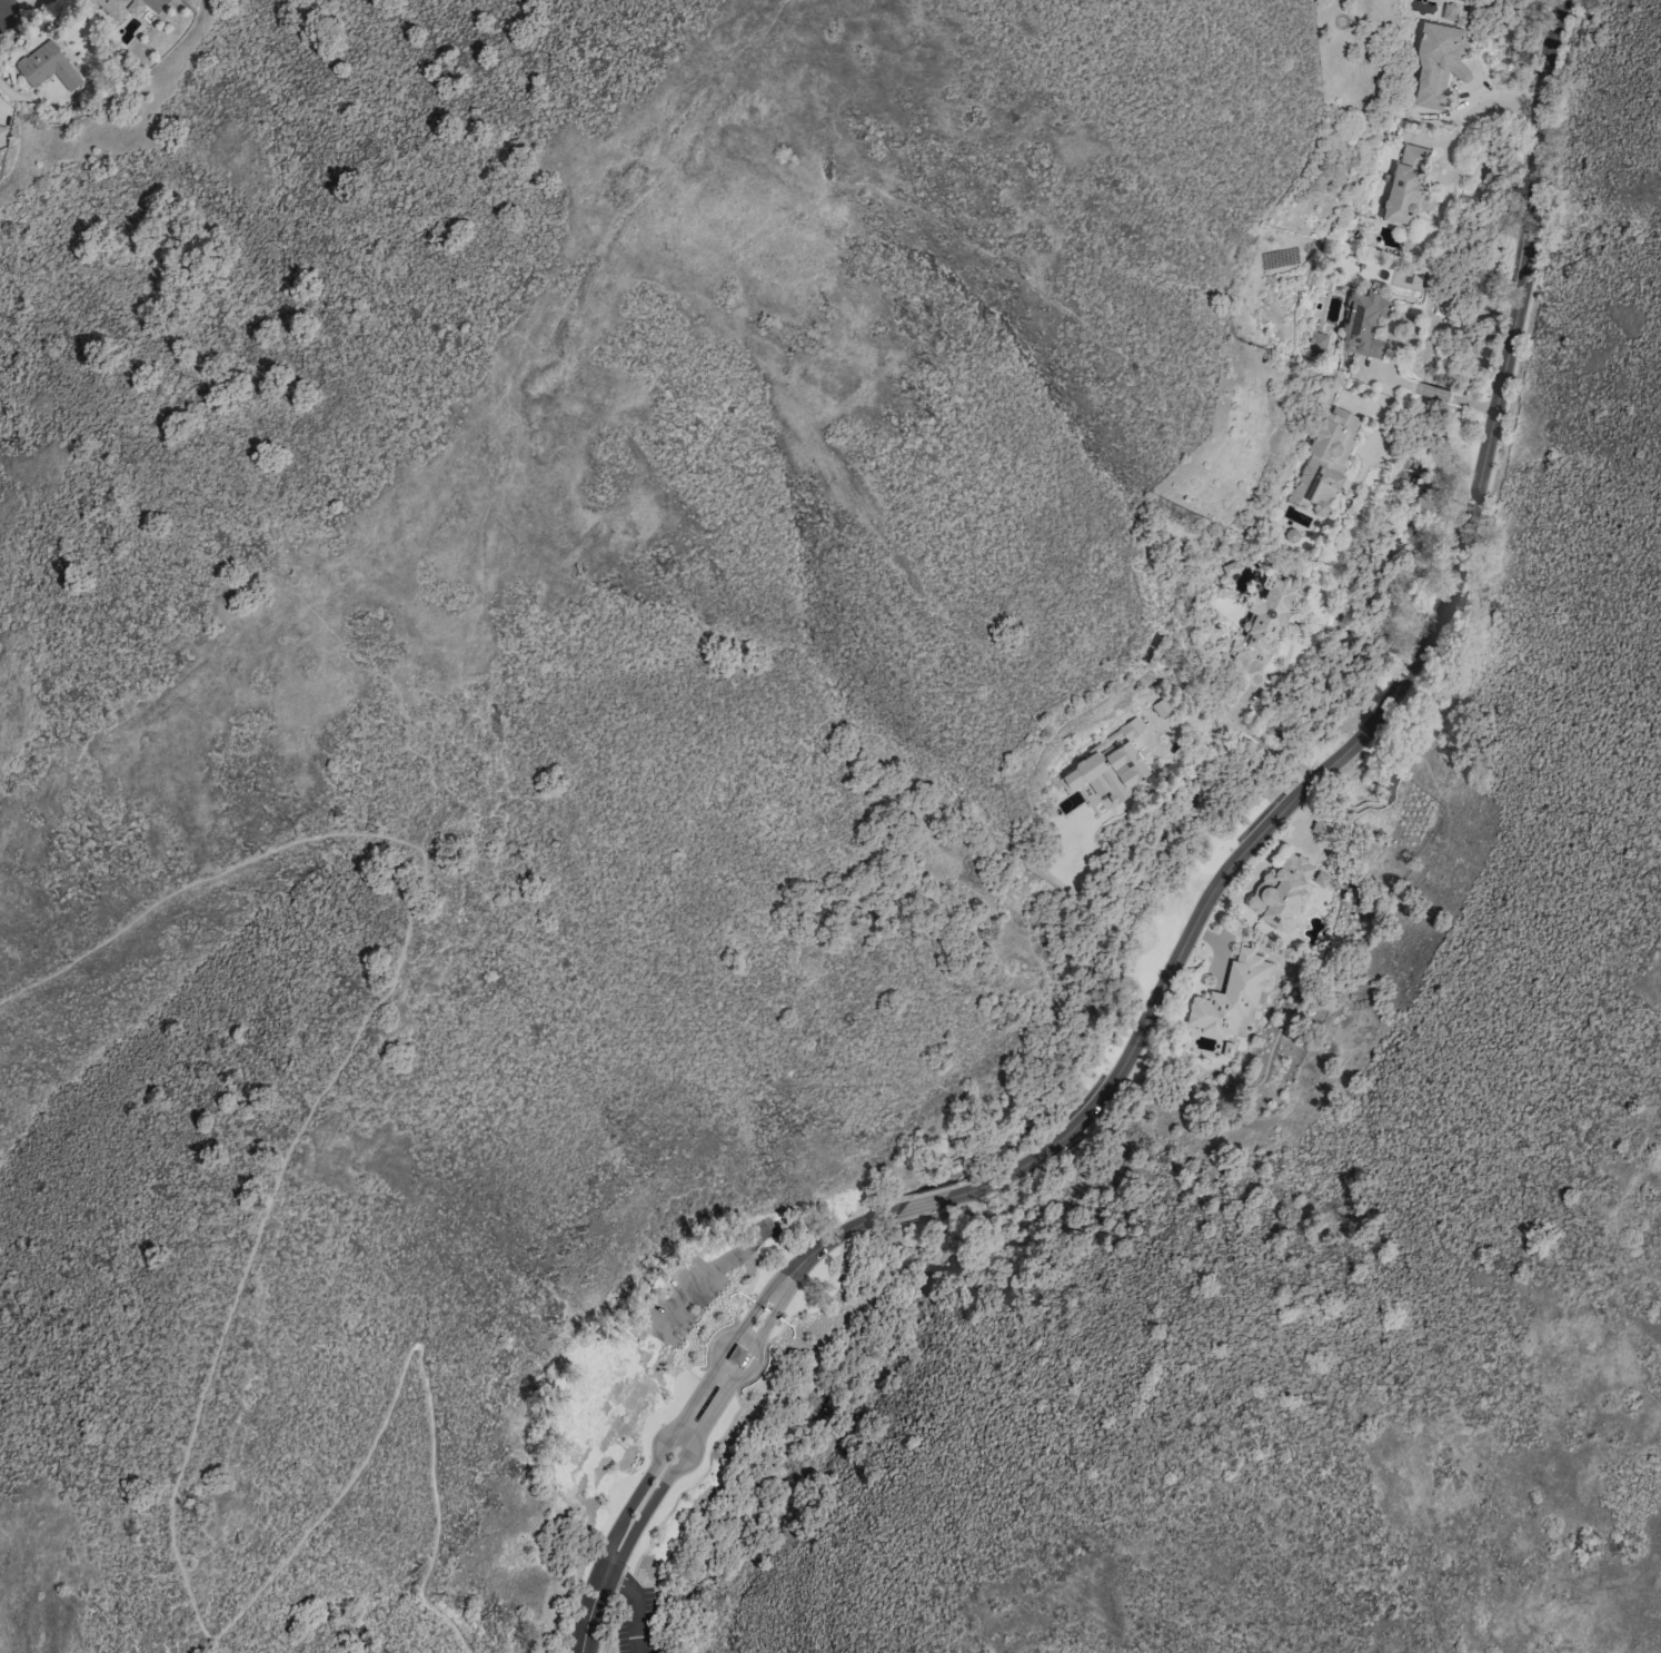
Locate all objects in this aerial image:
road: (13, 3)
building: (119, 7)
building: (1448, 12)
building: (1439, 63)
building: (46, 66)
building: (1, 133)
building: (1406, 187)
building: (1364, 323)
building: (1317, 346)
road: (1389, 376)
road: (1432, 390)
road: (1480, 406)
building: (1324, 462)
building: (1230, 568)
building: (1263, 621)
road: (1402, 684)
building: (1161, 707)
road: (1257, 739)
road: (1311, 743)
building: (1106, 768)
building: (1320, 828)
building: (1283, 891)
building: (1231, 996)
road: (921, 1207)
road: (834, 1237)
road: (723, 1263)
road: (770, 1294)
road: (777, 1298)
parking lot: (682, 1301)
road: (220, 1340)
building: (735, 1354)
road: (692, 1357)
road: (754, 1367)
road: (679, 1446)
road: (653, 1471)
road: (672, 1477)
road: (639, 1610)
road: (561, 1629)

